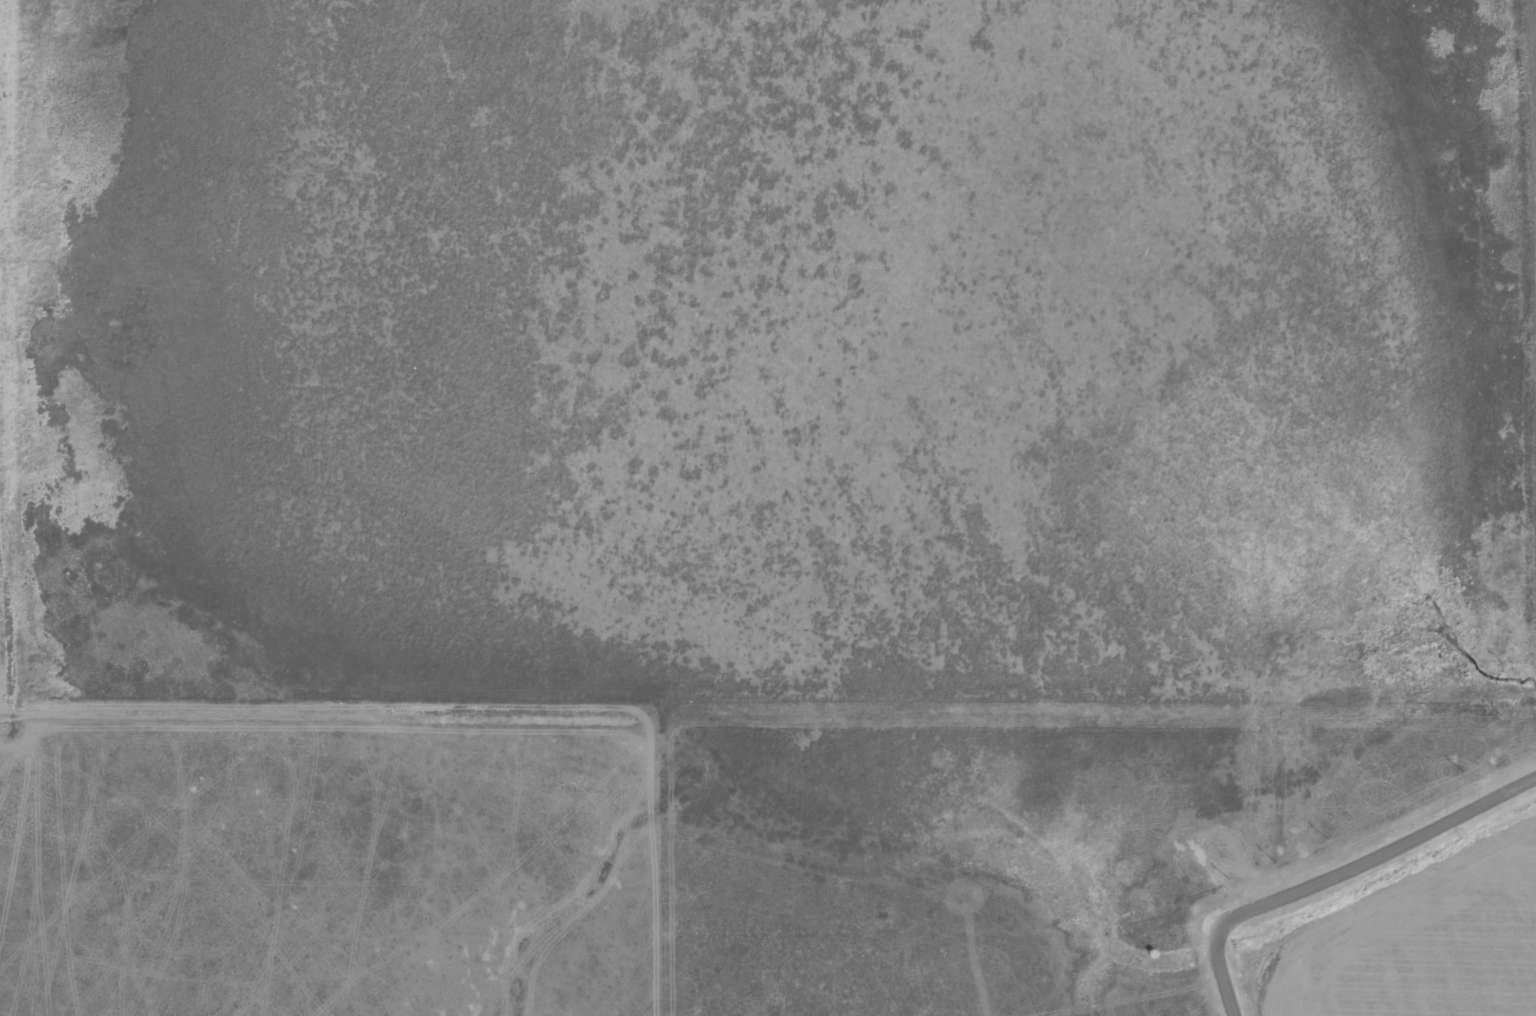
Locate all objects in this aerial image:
road: (1336, 874)

